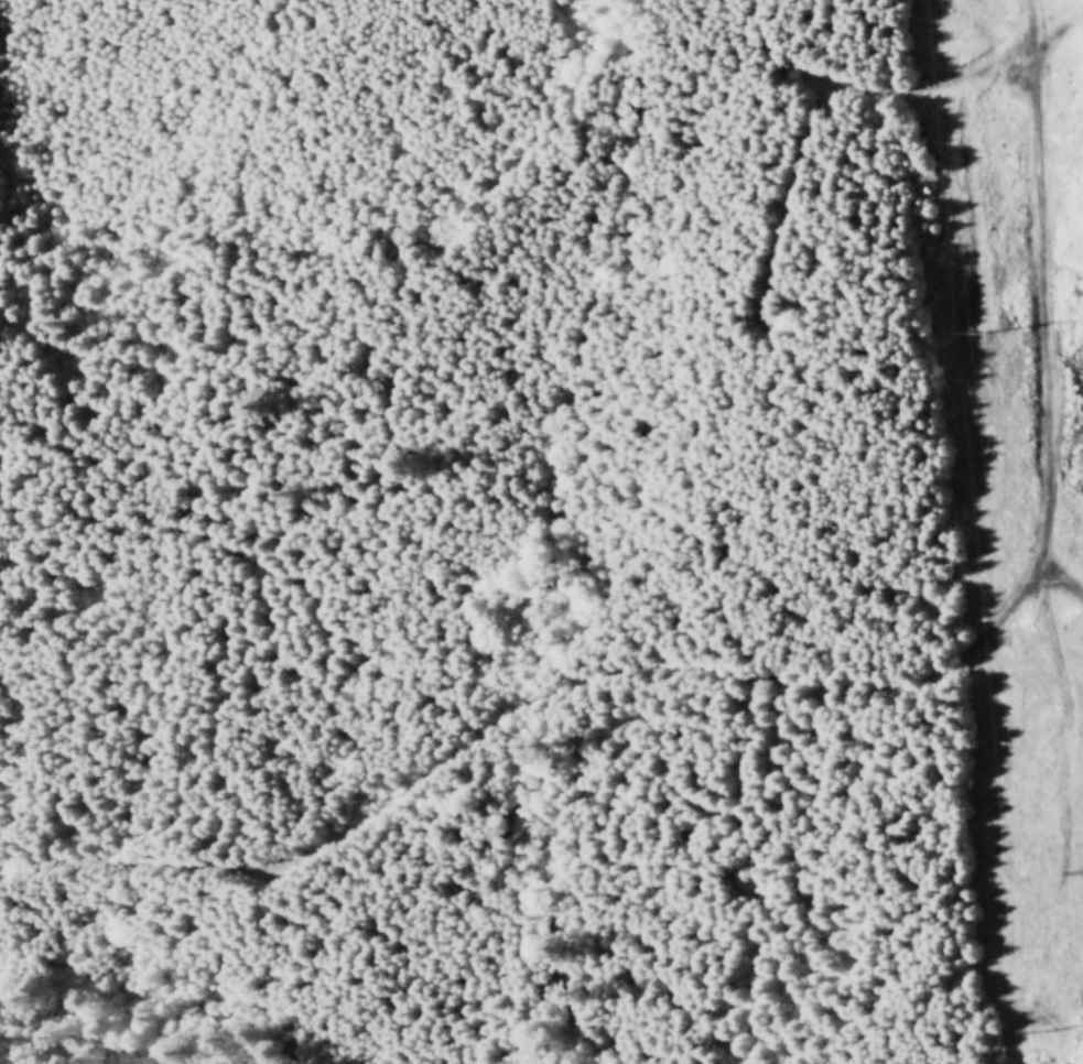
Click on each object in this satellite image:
power tower: (961, 333)
power tower: (1022, 1031)

